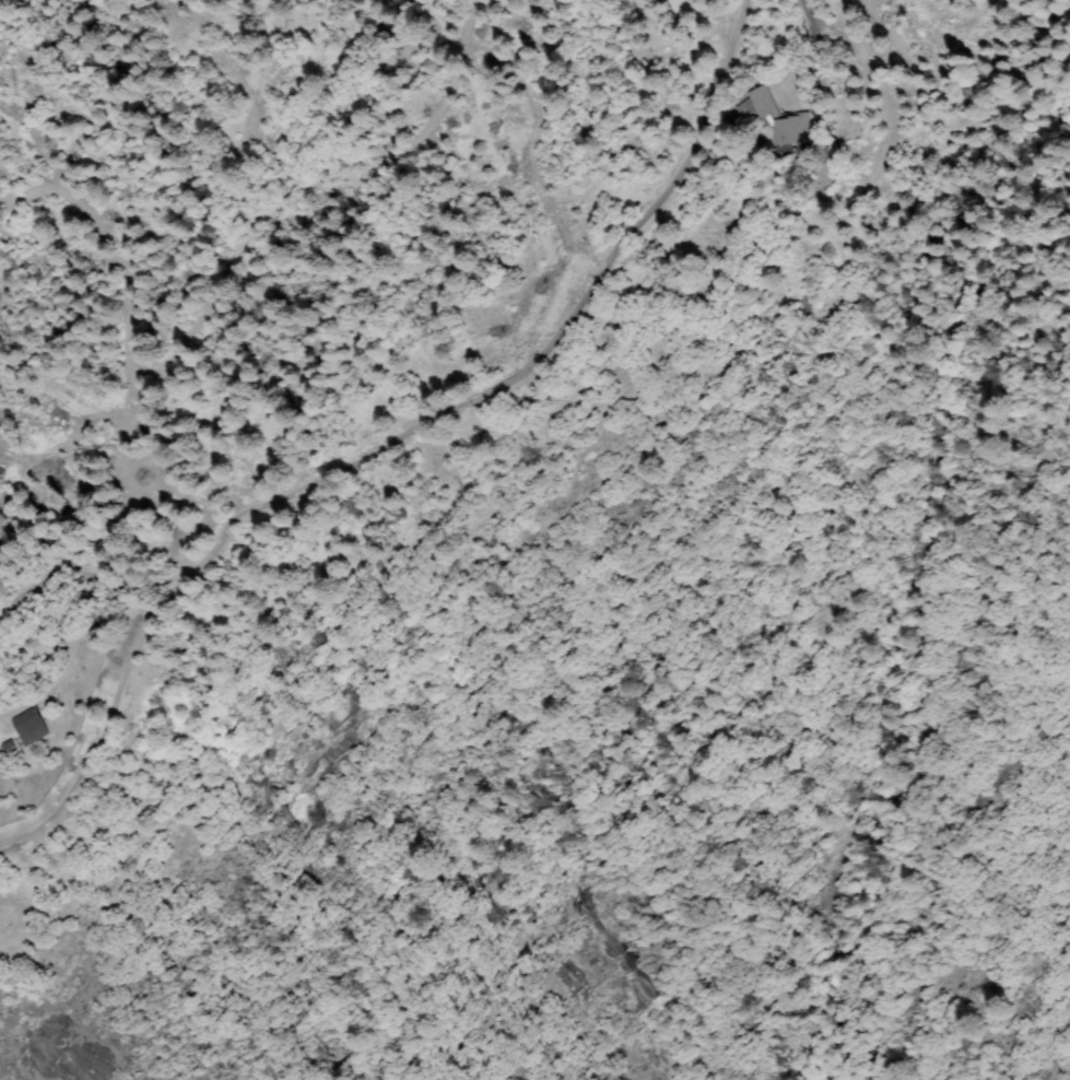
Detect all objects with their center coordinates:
building: (763, 101)
building: (795, 129)
building: (27, 720)

